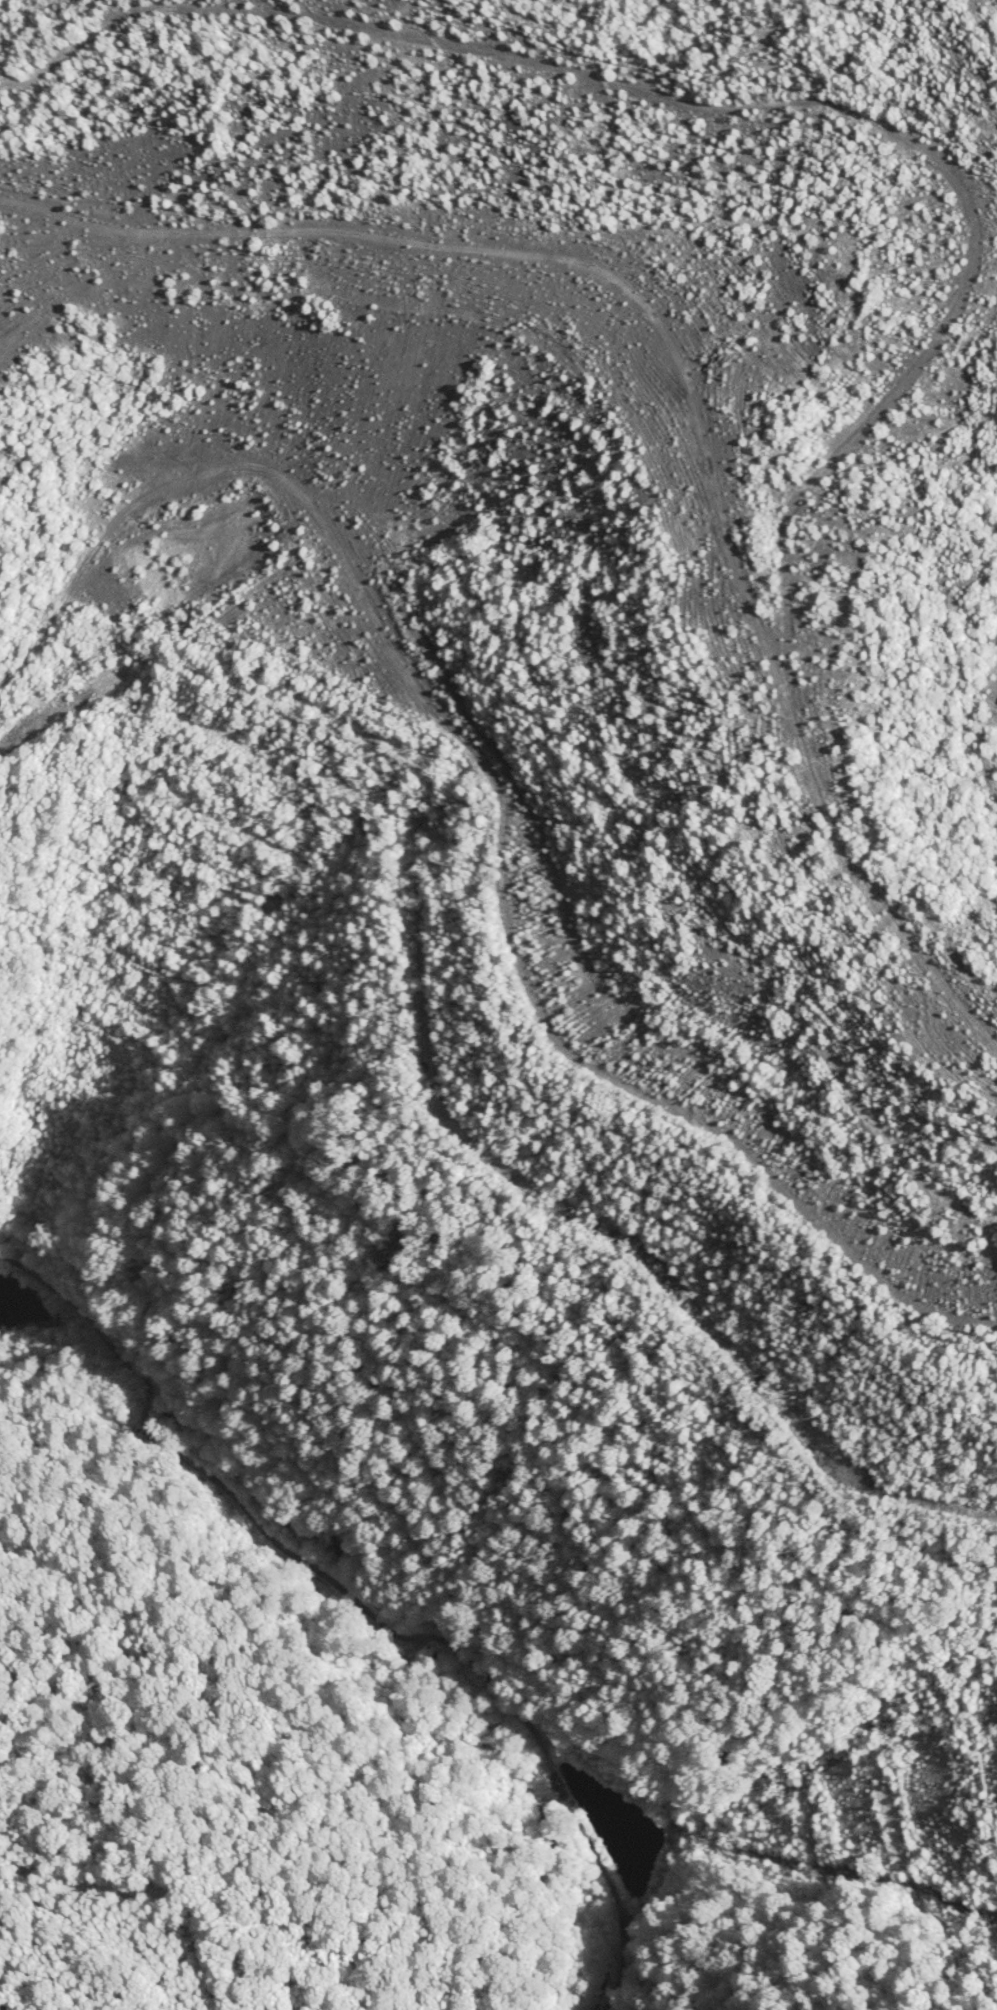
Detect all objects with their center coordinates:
quarry: (570, 513)

